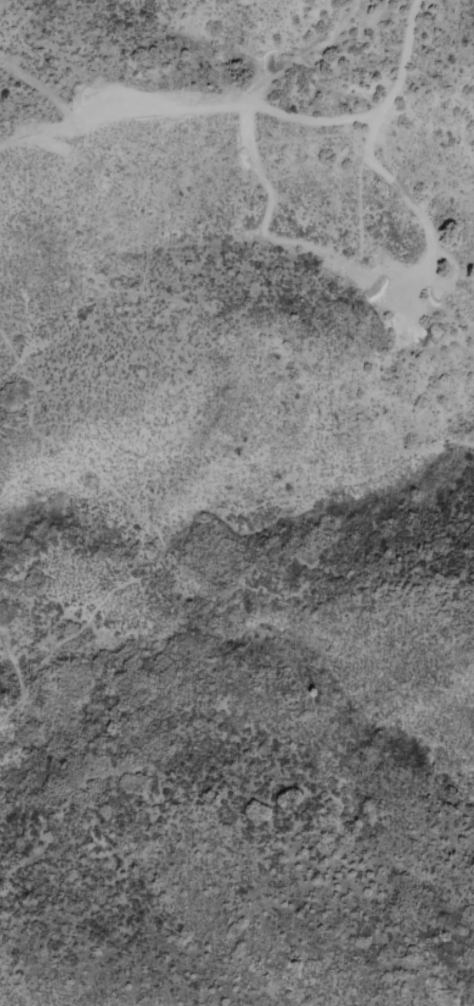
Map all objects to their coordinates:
road: (367, 150)

